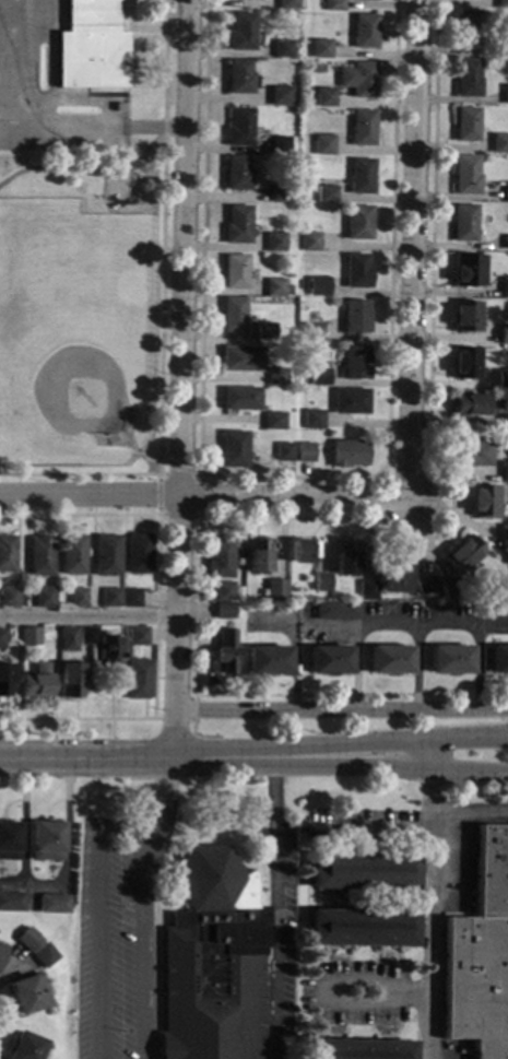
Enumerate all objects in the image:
building: (368, 0)
building: (286, 3)
building: (501, 4)
building: (333, 5)
building: (468, 28)
road: (141, 30)
building: (364, 32)
building: (240, 33)
building: (92, 47)
building: (506, 47)
building: (281, 49)
building: (320, 49)
building: (238, 77)
building: (466, 79)
building: (358, 80)
road: (145, 92)
building: (505, 95)
building: (279, 96)
building: (324, 97)
road: (127, 99)
building: (465, 125)
road: (156, 127)
building: (239, 128)
building: (362, 128)
building: (499, 144)
building: (279, 145)
building: (323, 145)
road: (86, 170)
building: (239, 175)
building: (465, 176)
building: (362, 177)
road: (103, 179)
building: (506, 192)
building: (279, 193)
building: (327, 195)
building: (308, 197)
building: (358, 223)
building: (463, 224)
building: (237, 225)
building: (274, 243)
building: (310, 243)
building: (506, 243)
road: (413, 249)
building: (466, 270)
building: (235, 271)
building: (357, 271)
building: (304, 285)
building: (319, 286)
building: (276, 289)
building: (504, 289)
park: (82, 310)
road: (160, 315)
building: (233, 315)
building: (356, 317)
building: (464, 317)
park: (12, 321)
building: (264, 331)
building: (312, 332)
building: (504, 334)
park: (64, 349)
building: (240, 360)
building: (355, 363)
building: (464, 364)
building: (275, 376)
building: (319, 377)
road: (180, 378)
building: (501, 380)
building: (240, 399)
building: (350, 401)
building: (468, 405)
building: (314, 420)
building: (273, 421)
building: (504, 426)
road: (126, 442)
building: (233, 449)
building: (283, 452)
building: (304, 452)
building: (347, 454)
building: (470, 454)
road: (141, 458)
road: (406, 458)
building: (505, 473)
road: (288, 478)
road: (204, 497)
building: (481, 502)
road: (197, 516)
road: (348, 519)
building: (504, 536)
building: (303, 551)
building: (7, 554)
building: (138, 554)
building: (72, 555)
building: (106, 555)
building: (258, 555)
building: (462, 555)
building: (40, 556)
building: (345, 556)
building: (218, 558)
building: (392, 578)
building: (8, 581)
building: (321, 583)
building: (425, 585)
building: (448, 588)
building: (275, 590)
building: (366, 590)
building: (222, 592)
building: (10, 597)
building: (45, 598)
building: (78, 598)
building: (110, 598)
building: (130, 598)
building: (417, 605)
building: (425, 608)
building: (224, 611)
building: (335, 611)
road: (155, 614)
road: (88, 620)
road: (393, 627)
building: (248, 629)
building: (31, 636)
building: (138, 636)
building: (87, 637)
building: (2, 638)
building: (68, 640)
building: (109, 650)
building: (224, 655)
building: (389, 660)
building: (450, 660)
building: (499, 660)
building: (268, 661)
building: (329, 661)
road: (417, 667)
road: (479, 667)
building: (140, 680)
building: (4, 681)
building: (71, 681)
building: (38, 683)
road: (342, 709)
road: (185, 719)
road: (199, 737)
road: (342, 746)
road: (427, 754)
road: (87, 758)
road: (302, 763)
road: (468, 769)
road: (165, 800)
road: (469, 813)
road: (126, 833)
road: (376, 833)
building: (8, 839)
building: (47, 840)
road: (338, 850)
road: (387, 850)
road: (339, 851)
road: (387, 852)
building: (363, 870)
road: (44, 885)
road: (338, 897)
road: (387, 898)
building: (12, 899)
road: (391, 901)
building: (54, 903)
road: (270, 910)
road: (432, 913)
building: (361, 926)
building: (27, 939)
road: (98, 945)
road: (336, 945)
building: (0, 946)
road: (137, 946)
road: (385, 948)
building: (44, 954)
building: (482, 955)
road: (152, 957)
building: (211, 962)
road: (371, 972)
road: (397, 976)
road: (340, 982)
building: (27, 992)
road: (397, 1008)
road: (324, 1011)
road: (355, 1013)
road: (334, 1037)
road: (382, 1038)
building: (24, 1047)
building: (357, 1049)

